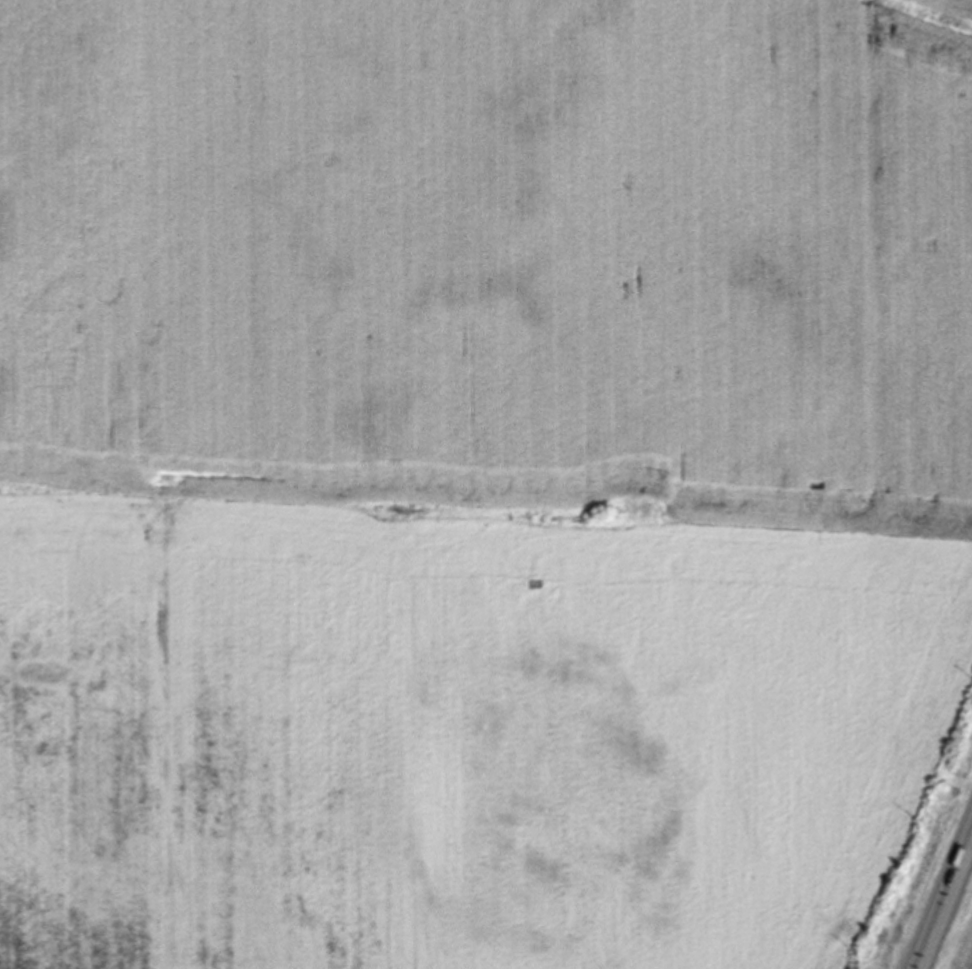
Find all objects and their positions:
road: (939, 888)

